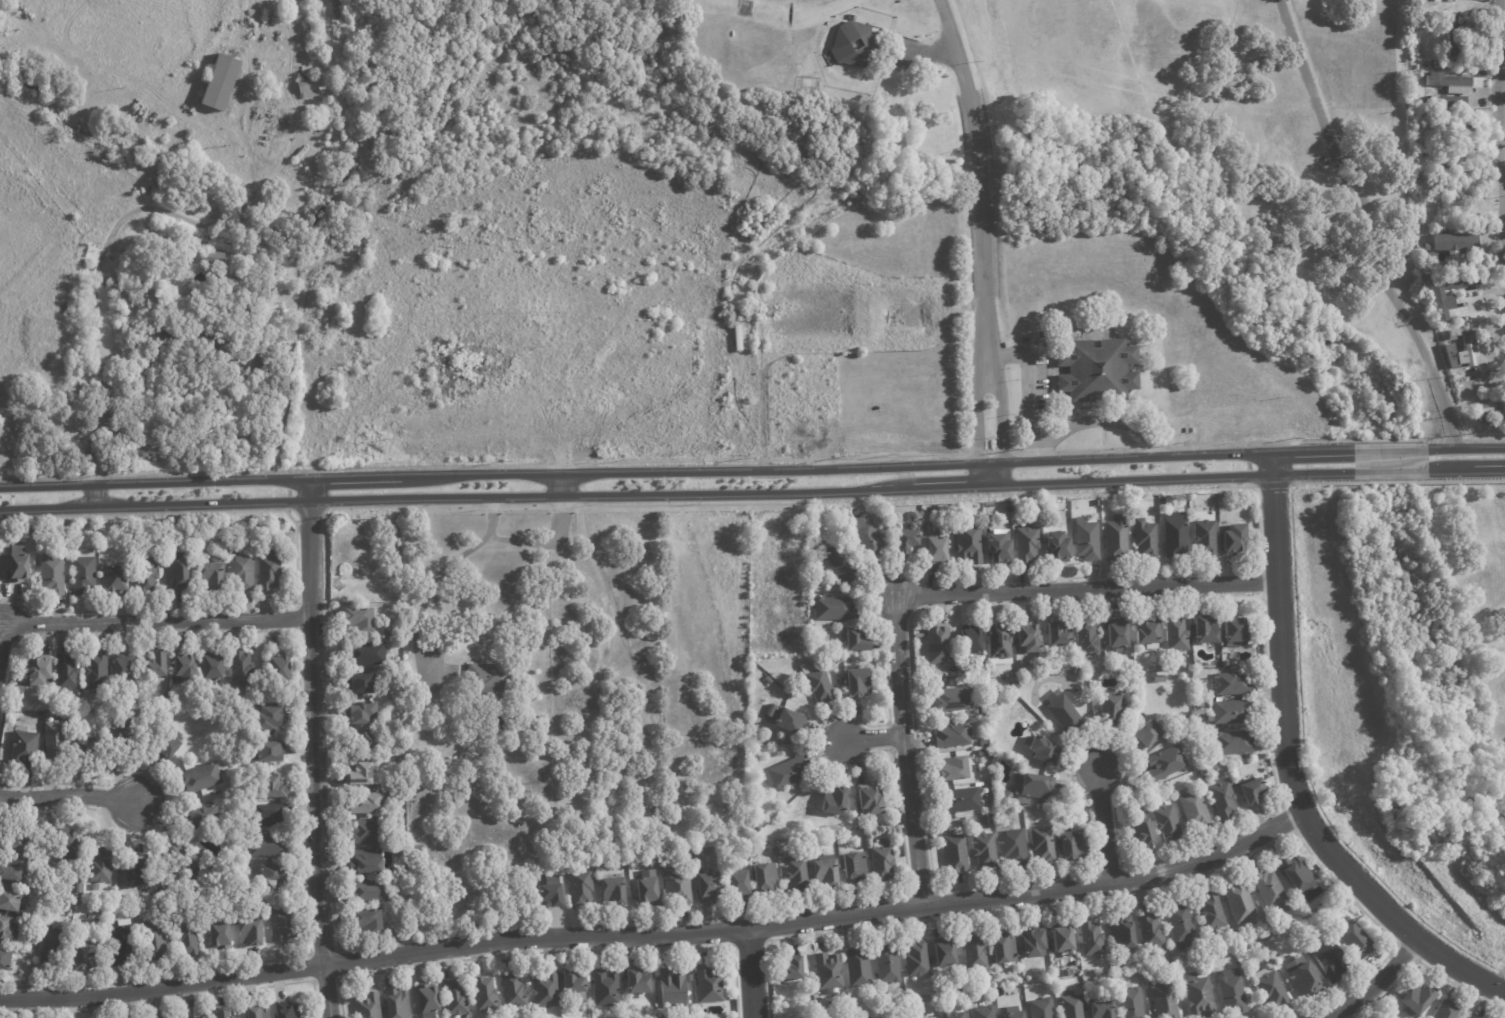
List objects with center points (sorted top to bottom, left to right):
building: (1450, 34)
building: (844, 42)
building: (1465, 52)
building: (1415, 67)
road: (1503, 73)
building: (1416, 76)
building: (1414, 81)
building: (220, 83)
building: (1450, 83)
building: (1413, 86)
building: (310, 87)
road: (1502, 87)
building: (283, 89)
building: (1443, 100)
building: (1441, 120)
building: (277, 126)
building: (1459, 151)
road: (980, 175)
building: (285, 193)
building: (1456, 202)
road: (1359, 228)
building: (197, 241)
building: (1460, 248)
building: (215, 257)
building: (113, 289)
building: (128, 298)
building: (1434, 298)
building: (1451, 321)
building: (1452, 335)
building: (189, 340)
building: (1467, 353)
building: (1452, 358)
building: (265, 363)
building: (1096, 372)
road: (1027, 381)
building: (1493, 403)
building: (1482, 410)
road: (1000, 418)
building: (1490, 418)
road: (974, 419)
road: (1101, 421)
building: (1186, 430)
building: (1192, 430)
building: (121, 435)
road: (1466, 449)
road: (1391, 450)
road: (1038, 455)
road: (677, 471)
road: (1466, 472)
road: (1391, 473)
road: (562, 485)
road: (677, 493)
road: (93, 497)
building: (1164, 500)
building: (1096, 503)
building: (1019, 509)
building: (931, 510)
building: (884, 515)
building: (103, 528)
building: (1177, 535)
building: (1206, 537)
building: (869, 538)
building: (1089, 538)
building: (1118, 538)
building: (1147, 538)
building: (907, 540)
building: (972, 540)
building: (1236, 540)
building: (1029, 545)
building: (1058, 546)
building: (33, 548)
building: (1000, 548)
building: (937, 550)
building: (857, 553)
building: (19, 564)
building: (841, 569)
building: (270, 570)
building: (243, 572)
building: (85, 573)
building: (53, 574)
building: (178, 575)
building: (214, 575)
building: (147, 576)
building: (817, 578)
building: (116, 579)
road: (1085, 589)
building: (836, 609)
building: (363, 619)
road: (155, 621)
park: (1464, 623)
building: (1203, 629)
building: (1146, 631)
building: (1234, 632)
building: (388, 635)
building: (1055, 635)
building: (1175, 635)
building: (1116, 636)
building: (1024, 638)
building: (1086, 638)
building: (969, 640)
building: (858, 641)
building: (998, 641)
building: (936, 645)
building: (369, 653)
building: (861, 656)
building: (1062, 656)
building: (1225, 663)
building: (158, 666)
building: (187, 667)
building: (215, 667)
building: (1157, 668)
building: (243, 669)
building: (282, 669)
building: (126, 670)
building: (41, 671)
building: (68, 673)
building: (97, 673)
building: (489, 676)
building: (1157, 679)
building: (768, 681)
building: (842, 681)
building: (365, 683)
building: (818, 683)
building: (859, 683)
building: (1201, 683)
building: (1229, 684)
building: (23, 686)
building: (177, 686)
building: (1015, 687)
building: (1012, 698)
building: (950, 699)
building: (169, 700)
building: (180, 706)
building: (1129, 706)
building: (981, 709)
building: (1110, 709)
building: (774, 711)
building: (1229, 712)
building: (365, 713)
building: (1063, 714)
road: (1490, 716)
building: (268, 718)
building: (1201, 718)
building: (969, 720)
building: (790, 721)
building: (123, 731)
building: (1146, 733)
building: (951, 736)
building: (55, 737)
road: (872, 738)
building: (370, 741)
building: (169, 742)
building: (1230, 742)
building: (983, 743)
building: (85, 745)
road: (311, 748)
building: (26, 749)
road: (903, 751)
building: (1040, 751)
building: (272, 752)
building: (982, 754)
building: (1163, 763)
building: (951, 769)
road: (1287, 770)
building: (1201, 772)
building: (359, 773)
building: (788, 773)
building: (204, 778)
building: (1032, 786)
building: (275, 787)
building: (1249, 790)
road: (67, 794)
building: (419, 794)
building: (529, 796)
building: (1221, 797)
building: (1138, 799)
building: (958, 800)
building: (836, 801)
building: (872, 801)
building: (1021, 802)
building: (373, 803)
building: (657, 807)
building: (1192, 810)
building: (1056, 811)
building: (272, 816)
building: (205, 817)
building: (968, 822)
building: (1165, 822)
building: (959, 823)
building: (762, 825)
road: (1104, 826)
building: (368, 832)
building: (1141, 832)
building: (683, 843)
building: (1042, 844)
building: (1068, 844)
building: (20, 845)
building: (268, 846)
building: (71, 847)
building: (1011, 847)
building: (983, 849)
building: (420, 850)
building: (954, 854)
building: (687, 856)
building: (179, 860)
building: (885, 861)
building: (367, 862)
building: (102, 866)
building: (855, 868)
building: (14, 872)
building: (828, 873)
building: (121, 874)
building: (138, 875)
building: (798, 875)
building: (1294, 875)
building: (275, 876)
building: (766, 880)
building: (743, 884)
building: (584, 887)
building: (79, 888)
building: (648, 888)
building: (680, 888)
building: (708, 889)
building: (1267, 890)
building: (552, 891)
building: (371, 892)
building: (616, 892)
building: (79, 900)
building: (10, 901)
building: (1238, 904)
building: (1209, 913)
building: (369, 922)
building: (1179, 924)
building: (285, 925)
building: (9, 929)
building: (252, 932)
building: (1121, 932)
building: (1149, 933)
building: (221, 935)
road: (657, 935)
building: (188, 938)
building: (154, 939)
building: (1090, 939)
building: (1354, 939)
building: (1061, 940)
building: (1032, 944)
building: (121, 945)
building: (53, 947)
building: (1000, 949)
building: (29, 953)
building: (942, 953)
building: (973, 953)
building: (88, 956)
building: (915, 959)
building: (1328, 960)
building: (6, 961)
building: (885, 964)
park: (1502, 966)
building: (856, 967)
road: (1502, 967)
building: (790, 969)
building: (828, 972)
road: (751, 973)
building: (1303, 977)
building: (1104, 978)
building: (637, 981)
road: (1373, 983)
building: (712, 984)
building: (575, 985)
building: (959, 985)
building: (1029, 986)
building: (607, 987)
building: (674, 987)
building: (1268, 987)
building: (548, 988)
building: (966, 988)
building: (516, 990)
building: (487, 993)
building: (1230, 993)
building: (456, 996)
building: (1196, 996)
building: (1414, 998)
building: (428, 1000)
building: (765, 1000)
building: (1163, 1001)
building: (398, 1002)
building: (911, 1003)
building: (1129, 1003)
building: (369, 1005)
building: (1069, 1007)
building: (1039, 1008)
building: (1101, 1010)
building: (1445, 1010)
building: (982, 1012)
building: (258, 1013)
building: (290, 1013)
building: (950, 1013)
building: (224, 1015)
building: (1009, 1015)
building: (1471, 1016)
building: (193, 1017)
building: (863, 1017)

